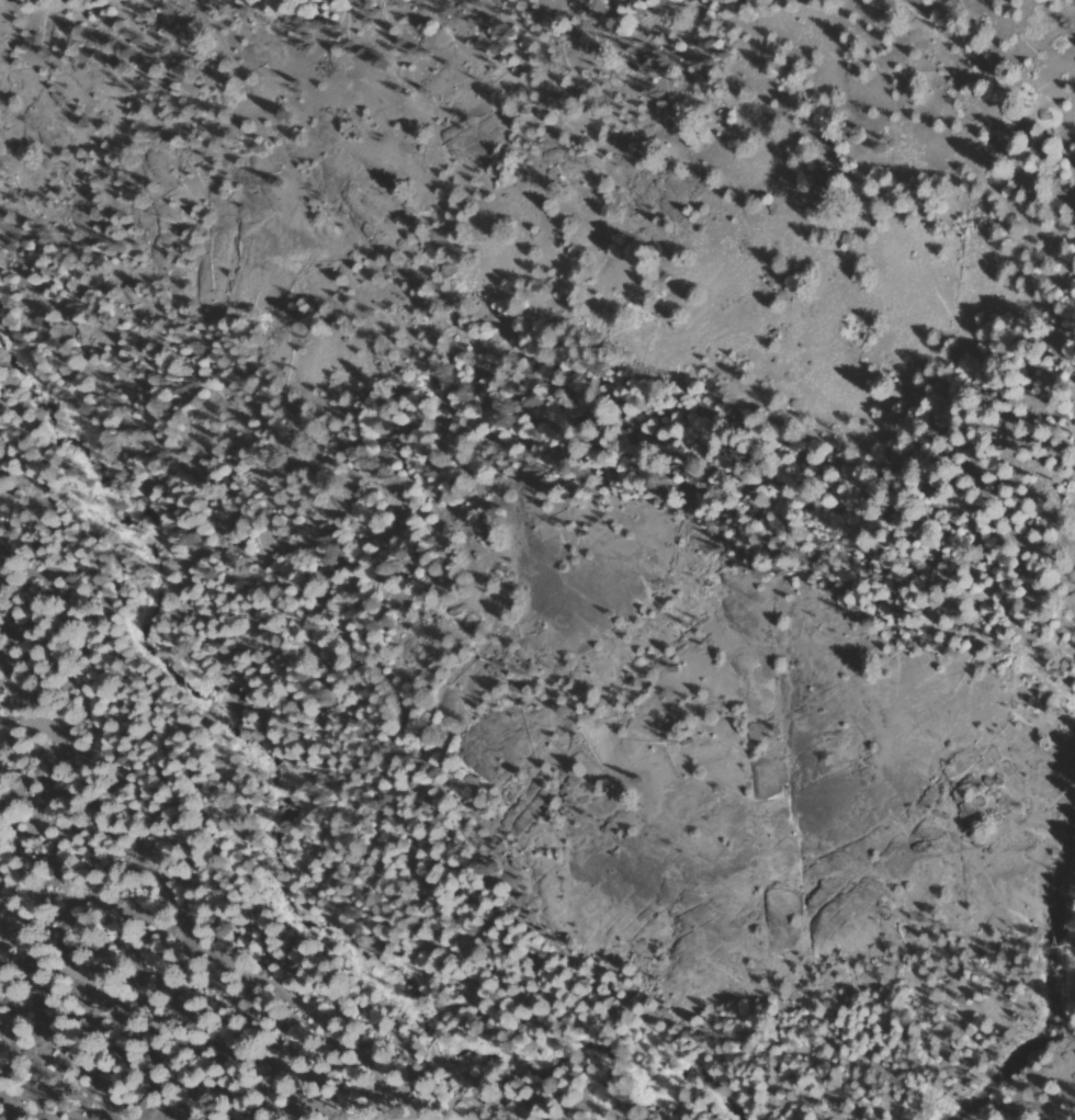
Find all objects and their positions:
road: (21, 1091)

